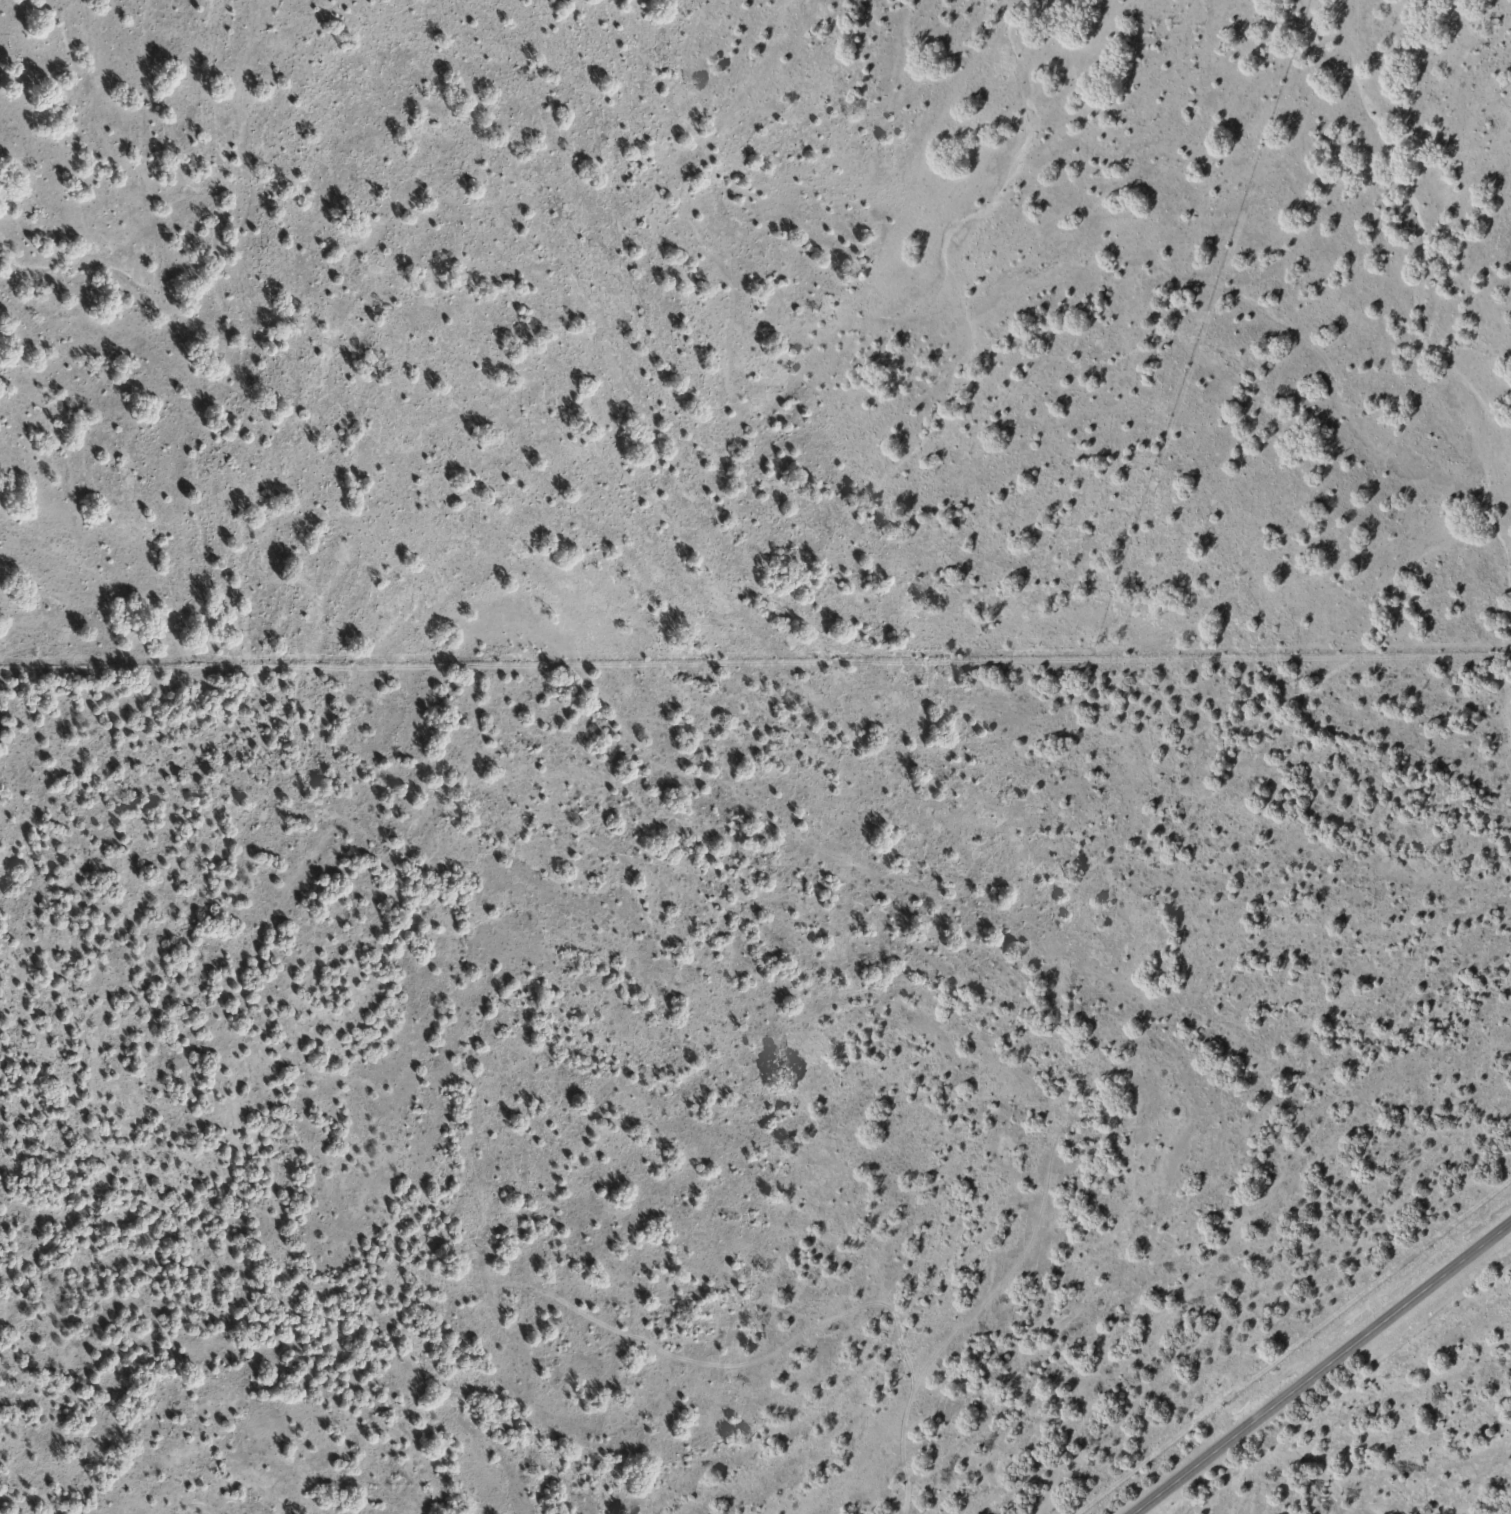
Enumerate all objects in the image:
road: (1325, 1370)

